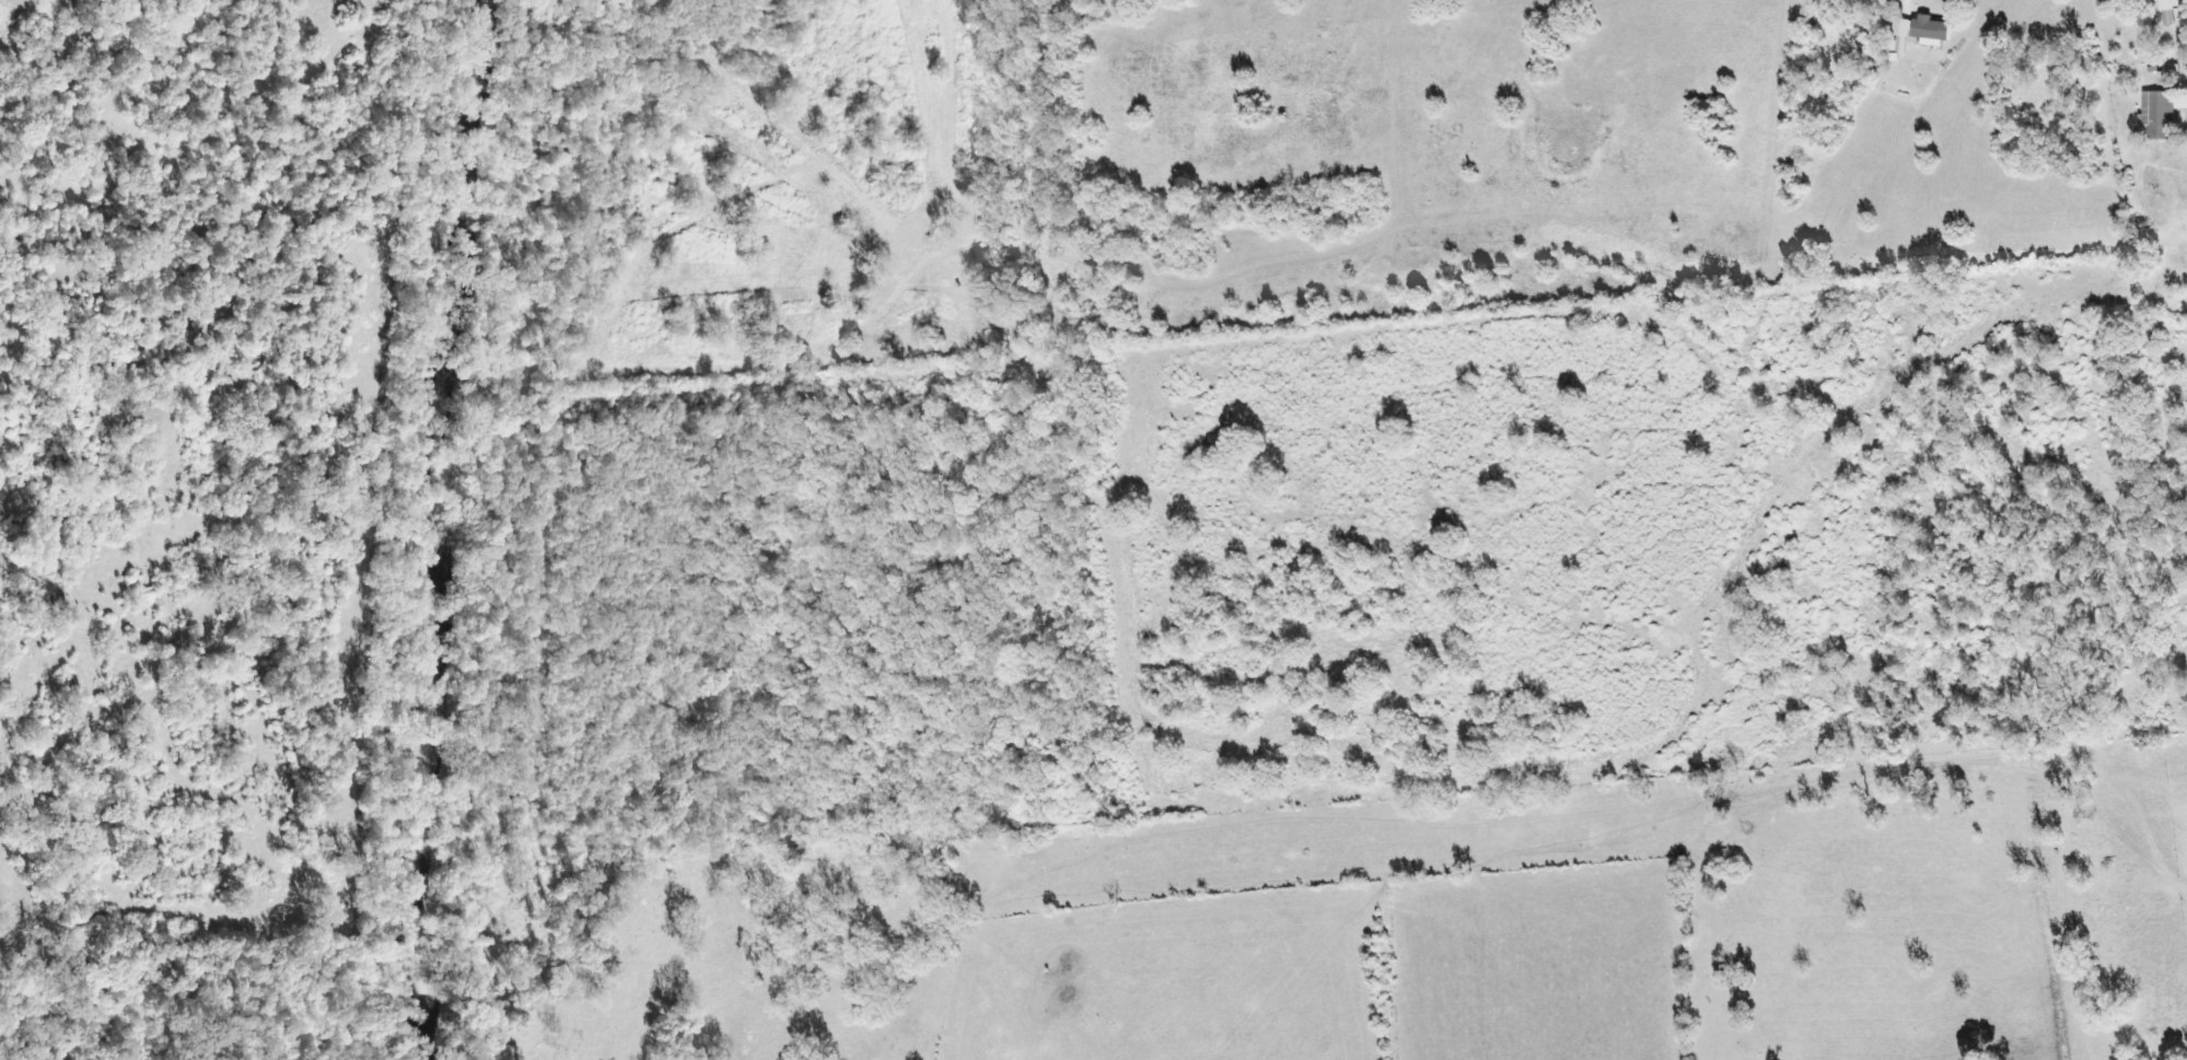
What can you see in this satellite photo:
building: (2161, 12)
building: (2156, 112)

